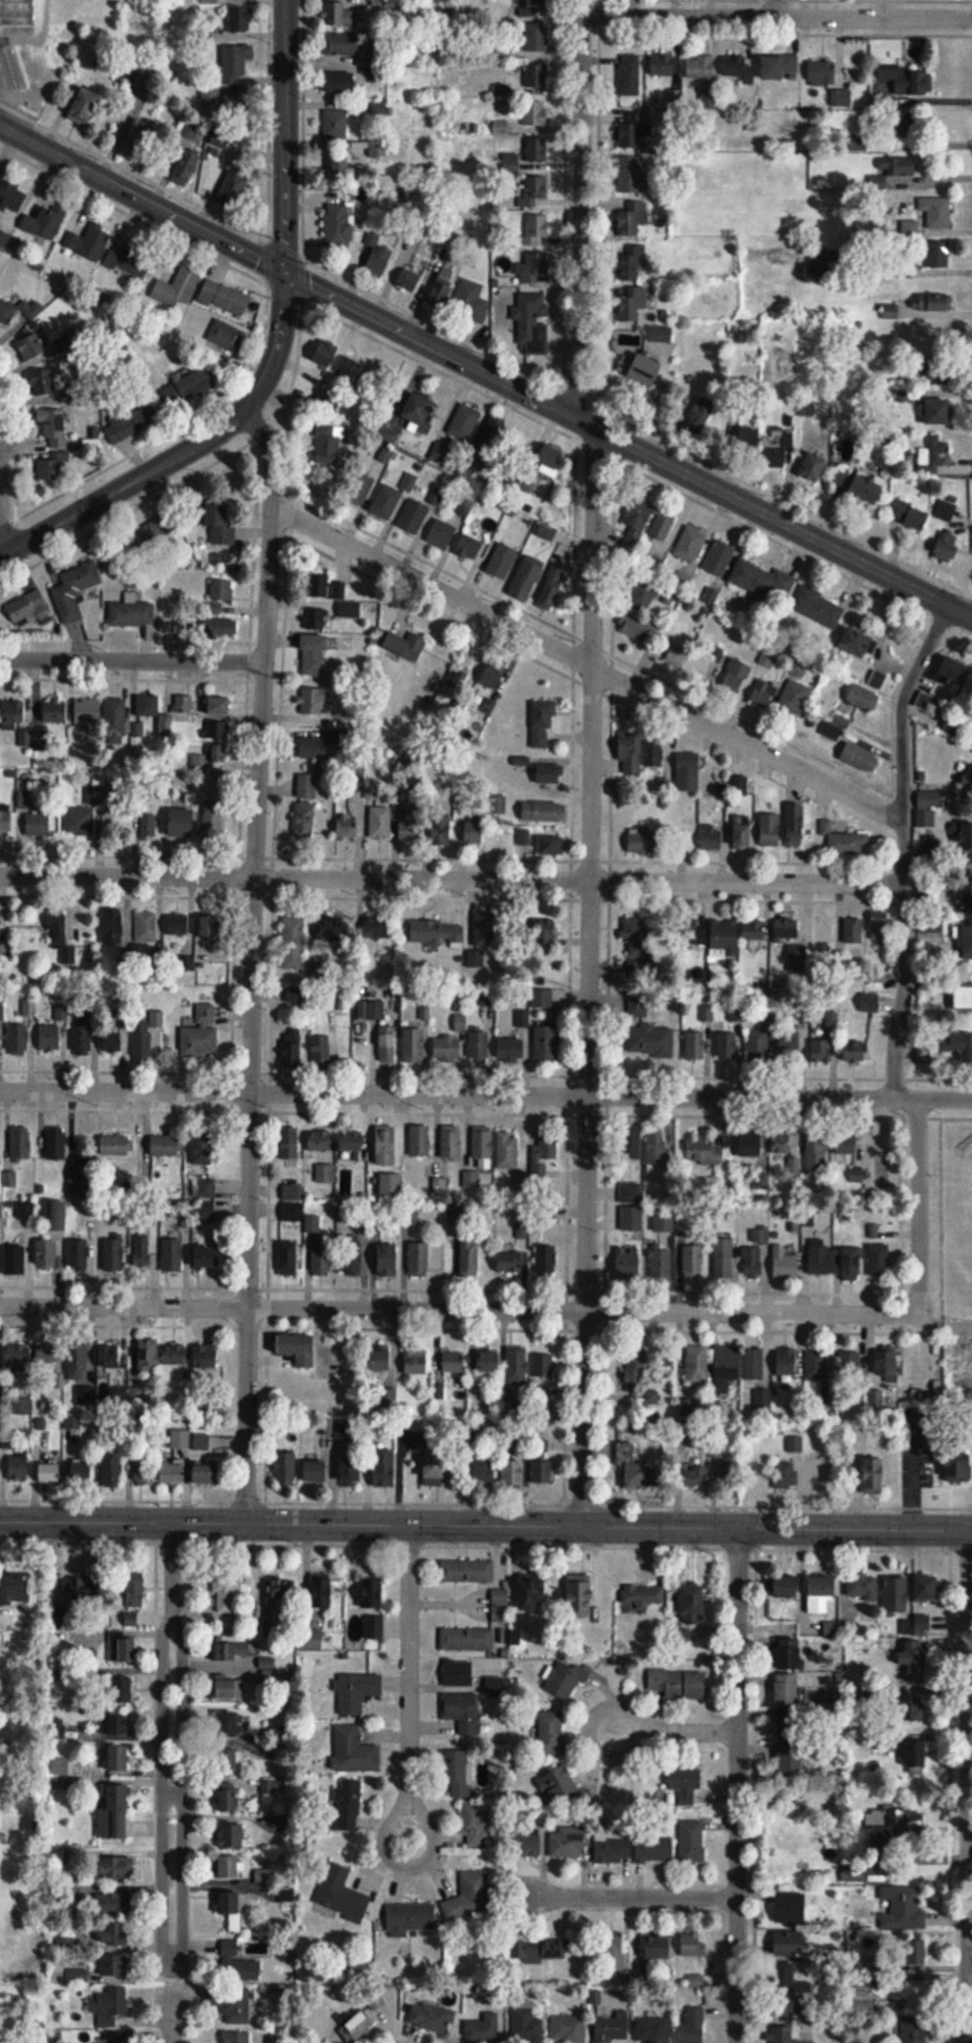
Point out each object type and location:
building: (237, 0)
road: (773, 8)
building: (16, 13)
building: (338, 15)
road: (776, 17)
building: (241, 20)
building: (536, 38)
building: (341, 47)
building: (662, 65)
building: (237, 67)
building: (699, 67)
building: (779, 67)
building: (738, 69)
building: (11, 70)
building: (822, 73)
building: (629, 75)
building: (536, 78)
building: (907, 81)
building: (340, 84)
building: (840, 98)
building: (86, 107)
building: (535, 113)
building: (335, 124)
building: (898, 127)
building: (138, 136)
building: (220, 138)
building: (538, 151)
building: (633, 157)
building: (347, 165)
building: (186, 168)
building: (888, 171)
building: (235, 187)
building: (536, 192)
building: (12, 198)
road: (579, 209)
road: (284, 210)
building: (938, 214)
building: (634, 216)
building: (47, 221)
building: (338, 225)
building: (536, 229)
building: (87, 242)
building: (938, 254)
building: (130, 258)
building: (379, 259)
building: (633, 261)
building: (536, 268)
road: (287, 273)
building: (408, 280)
building: (442, 287)
building: (176, 288)
building: (224, 299)
building: (471, 302)
building: (931, 303)
building: (632, 305)
building: (33, 309)
building: (7, 312)
building: (530, 322)
building: (660, 335)
building: (75, 338)
building: (226, 339)
building: (30, 345)
building: (623, 352)
building: (328, 356)
building: (353, 371)
building: (646, 371)
building: (934, 371)
building: (49, 388)
building: (189, 388)
building: (420, 412)
building: (937, 413)
road: (586, 422)
building: (131, 424)
building: (464, 424)
building: (51, 429)
building: (491, 435)
building: (329, 446)
building: (935, 456)
building: (550, 457)
building: (773, 458)
building: (813, 469)
building: (50, 470)
building: (842, 477)
building: (410, 480)
building: (534, 482)
road: (123, 486)
building: (868, 488)
building: (361, 490)
building: (386, 503)
building: (946, 511)
building: (418, 515)
building: (912, 517)
road: (783, 523)
building: (222, 525)
building: (636, 527)
building: (662, 528)
building: (442, 535)
building: (150, 536)
building: (690, 545)
building: (948, 546)
building: (470, 548)
building: (719, 558)
building: (502, 561)
building: (526, 578)
building: (682, 580)
building: (762, 580)
building: (320, 586)
building: (75, 590)
building: (222, 590)
building: (641, 596)
building: (549, 599)
building: (818, 607)
building: (29, 609)
building: (132, 610)
building: (315, 619)
building: (220, 627)
building: (636, 627)
building: (857, 641)
building: (410, 644)
building: (314, 654)
building: (649, 655)
building: (676, 655)
building: (714, 655)
road: (131, 660)
road: (586, 664)
building: (955, 668)
building: (736, 675)
building: (493, 677)
building: (458, 678)
building: (763, 692)
building: (864, 697)
building: (795, 698)
building: (313, 701)
building: (183, 703)
building: (219, 705)
building: (87, 710)
building: (55, 711)
building: (15, 712)
building: (154, 713)
building: (115, 721)
building: (543, 721)
building: (216, 729)
building: (40, 738)
building: (315, 746)
building: (654, 751)
building: (631, 752)
building: (207, 754)
building: (860, 757)
building: (688, 771)
building: (549, 773)
building: (967, 781)
building: (738, 785)
building: (371, 790)
building: (306, 805)
building: (543, 811)
building: (91, 813)
building: (925, 817)
building: (213, 818)
building: (6, 821)
building: (182, 822)
building: (380, 823)
building: (148, 824)
building: (410, 824)
building: (795, 824)
building: (38, 825)
building: (347, 826)
building: (441, 827)
building: (770, 829)
building: (469, 831)
building: (742, 831)
building: (960, 835)
building: (713, 836)
building: (845, 838)
building: (645, 842)
building: (551, 844)
road: (902, 847)
road: (451, 878)
building: (964, 894)
building: (0, 924)
building: (178, 924)
building: (210, 924)
building: (931, 924)
building: (879, 925)
building: (113, 926)
building: (146, 926)
building: (334, 927)
building: (294, 928)
building: (377, 928)
building: (787, 928)
building: (484, 930)
building: (753, 930)
building: (546, 931)
building: (692, 931)
building: (849, 931)
building: (436, 932)
building: (62, 933)
building: (724, 937)
building: (964, 939)
building: (637, 940)
building: (293, 958)
building: (797, 959)
road: (251, 961)
road: (588, 976)
building: (964, 994)
building: (541, 997)
building: (870, 1002)
building: (29, 1006)
building: (370, 1008)
building: (832, 1018)
building: (201, 1033)
building: (82, 1036)
building: (19, 1038)
building: (50, 1038)
building: (142, 1040)
building: (651, 1040)
building: (945, 1040)
building: (113, 1041)
building: (547, 1041)
building: (790, 1042)
building: (758, 1043)
building: (413, 1044)
building: (479, 1044)
building: (695, 1044)
building: (388, 1045)
building: (727, 1045)
building: (969, 1045)
building: (447, 1047)
building: (292, 1049)
building: (511, 1049)
building: (821, 1049)
building: (321, 1050)
building: (855, 1050)
road: (486, 1095)
building: (319, 1139)
building: (351, 1140)
building: (420, 1140)
building: (451, 1141)
building: (20, 1143)
building: (51, 1143)
building: (167, 1143)
building: (631, 1143)
building: (781, 1143)
building: (849, 1143)
building: (117, 1144)
building: (386, 1144)
building: (751, 1144)
building: (290, 1145)
building: (481, 1147)
building: (203, 1148)
building: (658, 1148)
building: (706, 1148)
building: (875, 1148)
building: (507, 1149)
building: (816, 1151)
building: (544, 1153)
building: (326, 1174)
building: (471, 1179)
building: (203, 1187)
building: (292, 1192)
building: (630, 1192)
road: (918, 1204)
building: (0, 1209)
building: (206, 1210)
building: (27, 1211)
building: (55, 1215)
building: (632, 1218)
building: (760, 1236)
building: (143, 1249)
building: (47, 1254)
building: (79, 1255)
building: (113, 1255)
building: (173, 1255)
building: (352, 1255)
building: (419, 1256)
building: (469, 1256)
building: (205, 1257)
building: (723, 1257)
building: (290, 1258)
building: (17, 1259)
building: (322, 1259)
building: (388, 1260)
building: (693, 1260)
building: (819, 1260)
building: (879, 1260)
building: (546, 1261)
building: (510, 1262)
building: (661, 1262)
building: (753, 1262)
building: (628, 1263)
building: (785, 1263)
building: (849, 1264)
road: (457, 1310)
building: (299, 1348)
building: (48, 1354)
building: (18, 1355)
building: (175, 1355)
building: (148, 1356)
building: (205, 1356)
building: (109, 1357)
building: (383, 1360)
building: (83, 1361)
building: (415, 1361)
building: (453, 1362)
building: (489, 1362)
building: (786, 1362)
building: (850, 1363)
building: (887, 1363)
building: (697, 1364)
building: (753, 1364)
building: (517, 1365)
building: (544, 1365)
building: (636, 1368)
building: (817, 1368)
building: (726, 1370)
building: (651, 1396)
building: (201, 1408)
building: (716, 1449)
building: (637, 1464)
building: (434, 1465)
building: (19, 1466)
building: (958, 1466)
building: (285, 1468)
building: (385, 1468)
building: (144, 1469)
building: (316, 1470)
building: (352, 1470)
building: (82, 1471)
building: (112, 1471)
building: (543, 1471)
building: (50, 1472)
building: (206, 1472)
building: (483, 1472)
building: (514, 1472)
building: (174, 1473)
building: (729, 1473)
building: (785, 1473)
building: (819, 1473)
building: (874, 1474)
building: (698, 1475)
building: (757, 1475)
road: (86, 1522)
road: (572, 1525)
building: (467, 1570)
building: (783, 1586)
building: (928, 1587)
building: (135, 1588)
building: (862, 1588)
building: (16, 1589)
building: (323, 1590)
building: (282, 1591)
building: (226, 1592)
building: (373, 1592)
building: (821, 1593)
building: (528, 1594)
building: (896, 1594)
building: (580, 1595)
building: (643, 1598)
building: (692, 1603)
building: (379, 1626)
building: (481, 1630)
building: (310, 1639)
building: (122, 1647)
building: (226, 1651)
building: (790, 1653)
building: (267, 1662)
building: (915, 1664)
road: (407, 1670)
building: (461, 1673)
building: (564, 1678)
building: (679, 1684)
building: (229, 1688)
building: (787, 1688)
building: (124, 1689)
building: (356, 1691)
building: (920, 1711)
building: (463, 1712)
building: (119, 1724)
building: (229, 1725)
building: (790, 1725)
building: (58, 1729)
building: (551, 1732)
road: (636, 1732)
road: (687, 1733)
road: (172, 1749)
building: (354, 1751)
building: (917, 1754)
building: (118, 1759)
building: (230, 1760)
building: (792, 1762)
building: (69, 1767)
building: (455, 1770)
road: (737, 1785)
road: (967, 1786)
building: (561, 1788)
building: (688, 1789)
building: (228, 1800)
building: (348, 1806)
building: (117, 1812)
building: (900, 1821)
building: (474, 1823)
building: (231, 1836)
road: (432, 1839)
building: (531, 1840)
building: (692, 1842)
building: (569, 1843)
building: (614, 1850)
building: (654, 1850)
building: (229, 1867)
building: (115, 1868)
building: (341, 1894)
building: (470, 1896)
road: (623, 1897)
building: (902, 1907)
building: (790, 1908)
building: (233, 1913)
building: (410, 1919)
building: (117, 1921)
building: (789, 1943)
building: (691, 1944)
building: (657, 1948)
building: (544, 1951)
building: (613, 1953)
building: (909, 1953)
building: (238, 1959)
road: (970, 1963)
road: (171, 1978)
building: (792, 1979)
road: (171, 1985)
building: (917, 1995)
building: (232, 2005)
building: (109, 2008)
road: (171, 2016)
building: (432, 2018)
building: (358, 2026)
building: (690, 2026)
building: (484, 2027)
building: (526, 2027)
building: (613, 2028)
building: (569, 2029)
building: (914, 2029)
building: (653, 2031)
building: (783, 2035)
building: (237, 2037)

